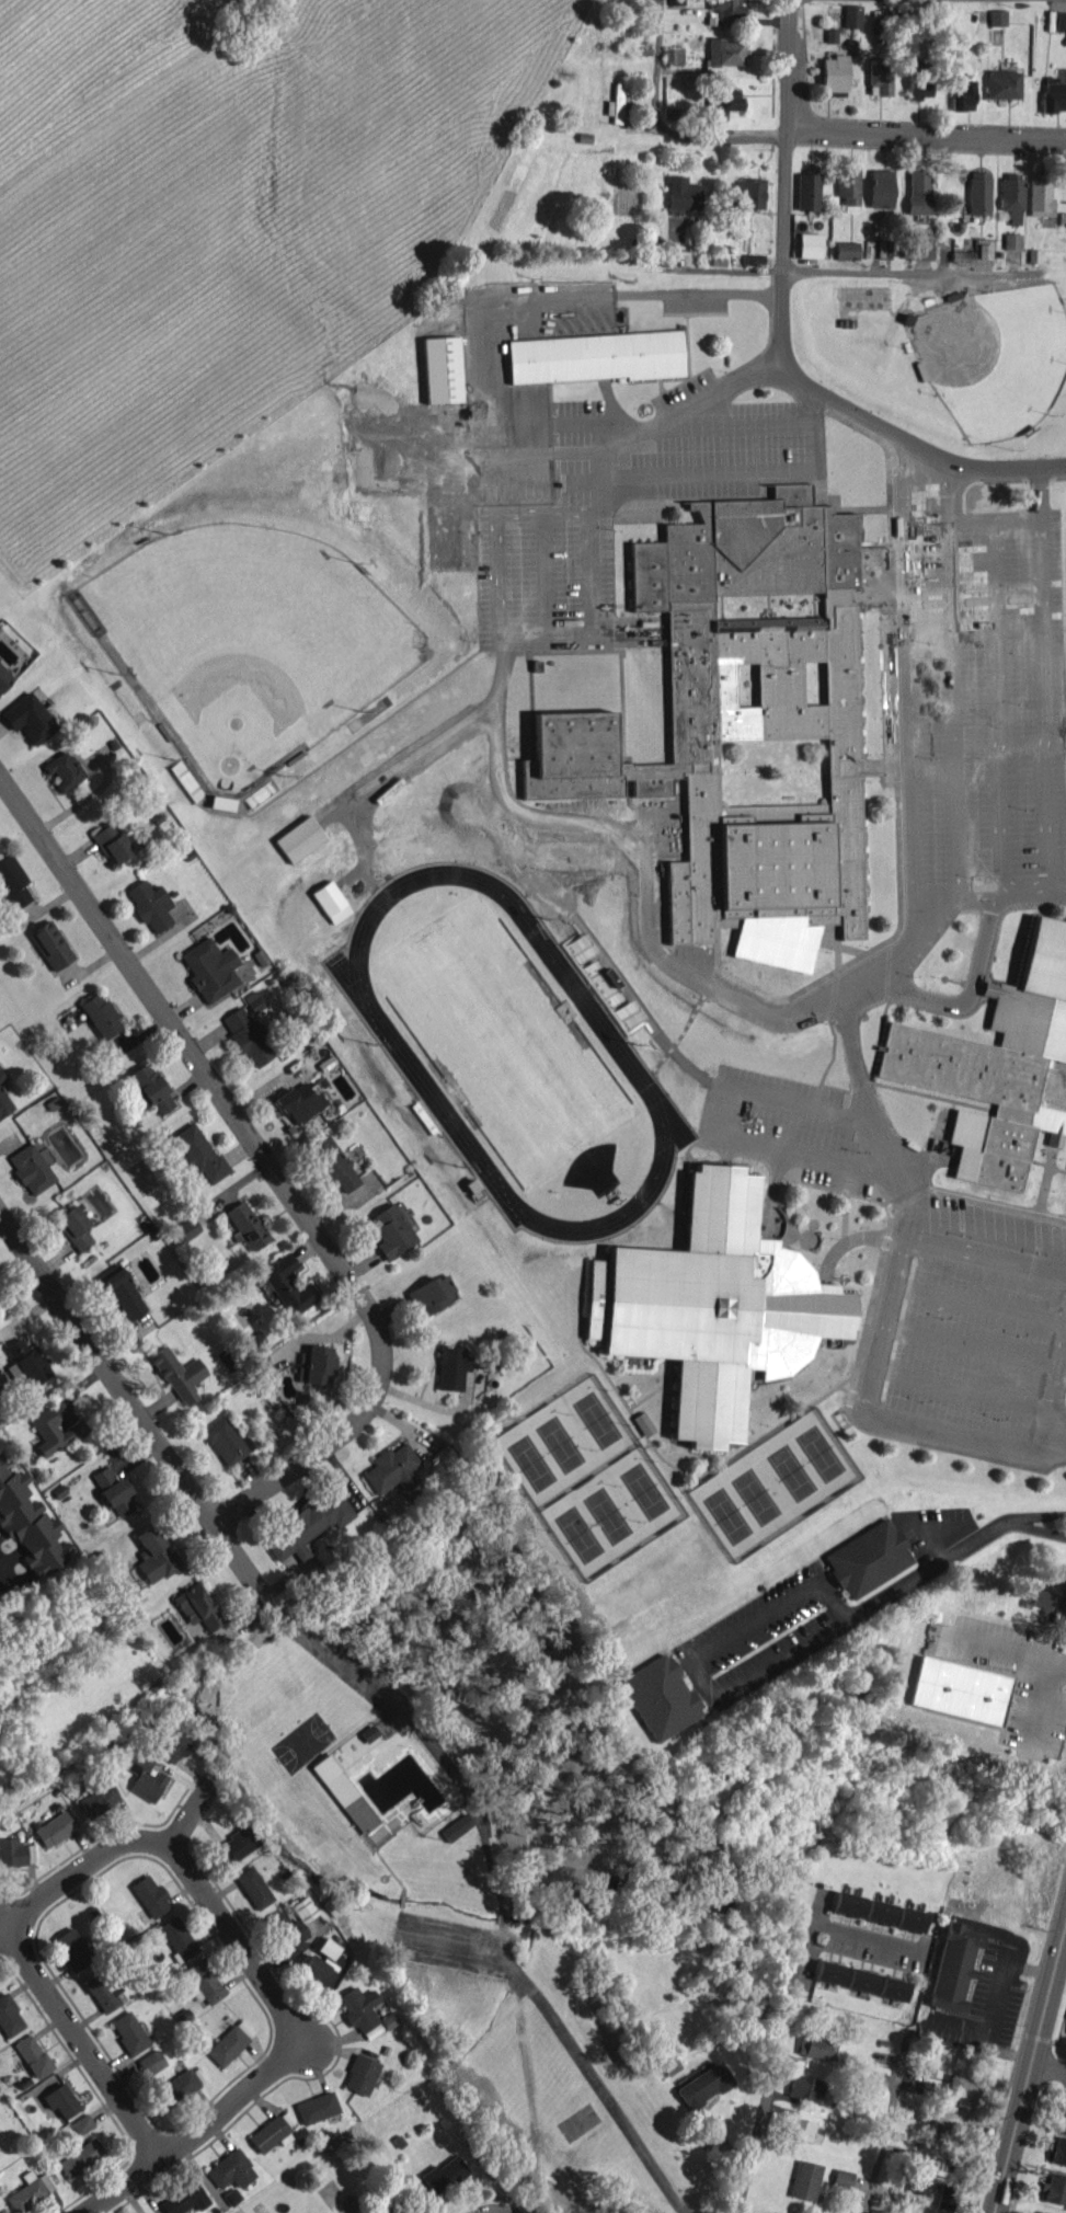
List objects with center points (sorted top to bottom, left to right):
building: (726, 8)
building: (851, 15)
building: (884, 16)
building: (1059, 21)
building: (830, 34)
building: (726, 51)
building: (674, 56)
building: (835, 71)
building: (880, 74)
building: (919, 81)
building: (1002, 83)
building: (962, 93)
building: (1054, 94)
building: (724, 102)
building: (617, 103)
road: (662, 125)
road: (925, 133)
road: (781, 183)
building: (848, 190)
building: (881, 190)
building: (807, 191)
building: (747, 192)
building: (919, 192)
building: (681, 194)
building: (978, 194)
building: (1040, 194)
building: (1012, 196)
building: (1011, 241)
building: (810, 244)
building: (919, 249)
building: (847, 250)
road: (847, 271)
building: (596, 356)
park: (996, 356)
building: (442, 369)
road: (644, 434)
road: (914, 445)
road: (990, 519)
park: (247, 640)
road: (505, 660)
building: (4, 677)
road: (904, 689)
parking lot: (986, 691)
road: (950, 707)
building: (28, 718)
building: (737, 722)
road: (421, 757)
building: (64, 770)
building: (299, 838)
building: (112, 840)
road: (1043, 876)
building: (12, 881)
road: (929, 888)
building: (330, 902)
building: (150, 904)
building: (50, 944)
road: (975, 962)
building: (210, 968)
road: (720, 993)
building: (100, 1014)
building: (242, 1033)
park: (504, 1042)
road: (402, 1053)
track: (402, 1053)
building: (995, 1062)
building: (1, 1075)
building: (150, 1085)
building: (297, 1102)
building: (4, 1104)
road: (868, 1117)
road: (713, 1123)
parking lot: (800, 1124)
building: (196, 1153)
building: (330, 1160)
building: (32, 1167)
road: (270, 1167)
building: (243, 1224)
building: (74, 1227)
building: (187, 1228)
building: (389, 1229)
road: (984, 1253)
building: (288, 1285)
building: (121, 1292)
building: (431, 1293)
road: (977, 1303)
building: (711, 1304)
parking lot: (966, 1330)
road: (967, 1344)
building: (24, 1364)
building: (317, 1364)
building: (451, 1367)
building: (179, 1374)
road: (960, 1387)
road: (1056, 1417)
building: (641, 1421)
road: (925, 1426)
building: (54, 1431)
building: (223, 1441)
park: (564, 1441)
road: (1053, 1445)
building: (392, 1468)
road: (179, 1471)
park: (775, 1486)
building: (113, 1491)
park: (611, 1514)
road: (1041, 1514)
building: (30, 1522)
building: (308, 1526)
road: (1040, 1529)
road: (935, 1541)
building: (154, 1555)
building: (869, 1558)
building: (1064, 1585)
building: (1041, 1597)
building: (197, 1606)
road: (770, 1615)
building: (959, 1690)
building: (660, 1697)
building: (170, 1742)
building: (145, 1777)
building: (98, 1799)
road: (181, 1818)
building: (456, 1826)
building: (56, 1828)
building: (236, 1845)
building: (15, 1851)
road: (82, 1866)
building: (253, 1887)
building: (150, 1895)
building: (848, 1903)
building: (303, 1908)
building: (880, 1912)
road: (1063, 1918)
building: (910, 1919)
building: (287, 1929)
road: (866, 1936)
building: (177, 1937)
road: (1061, 1946)
building: (72, 1948)
building: (321, 1962)
building: (954, 1967)
building: (829, 1972)
building: (205, 1980)
building: (861, 1980)
building: (893, 1987)
building: (100, 1992)
building: (359, 2010)
building: (9, 2016)
building: (129, 2032)
road: (77, 2042)
building: (229, 2042)
road: (571, 2046)
building: (815, 2046)
road: (779, 2053)
building: (33, 2055)
road: (289, 2055)
building: (151, 2062)
building: (669, 2064)
road: (1023, 2072)
building: (362, 2074)
building: (703, 2085)
building: (177, 2086)
building: (803, 2087)
building: (966, 2090)
building: (60, 2100)
building: (317, 2107)
road: (898, 2108)
building: (1063, 2121)
building: (82, 2123)
building: (933, 2126)
building: (801, 2130)
building: (270, 2134)
building: (1058, 2151)
building: (80, 2157)
building: (230, 2169)
building: (444, 2175)
building: (843, 2178)
building: (805, 2179)
building: (915, 2185)
building: (1055, 2188)
building: (30, 2192)
building: (184, 2198)
building: (952, 2198)
building: (380, 2210)
building: (1042, 2212)

